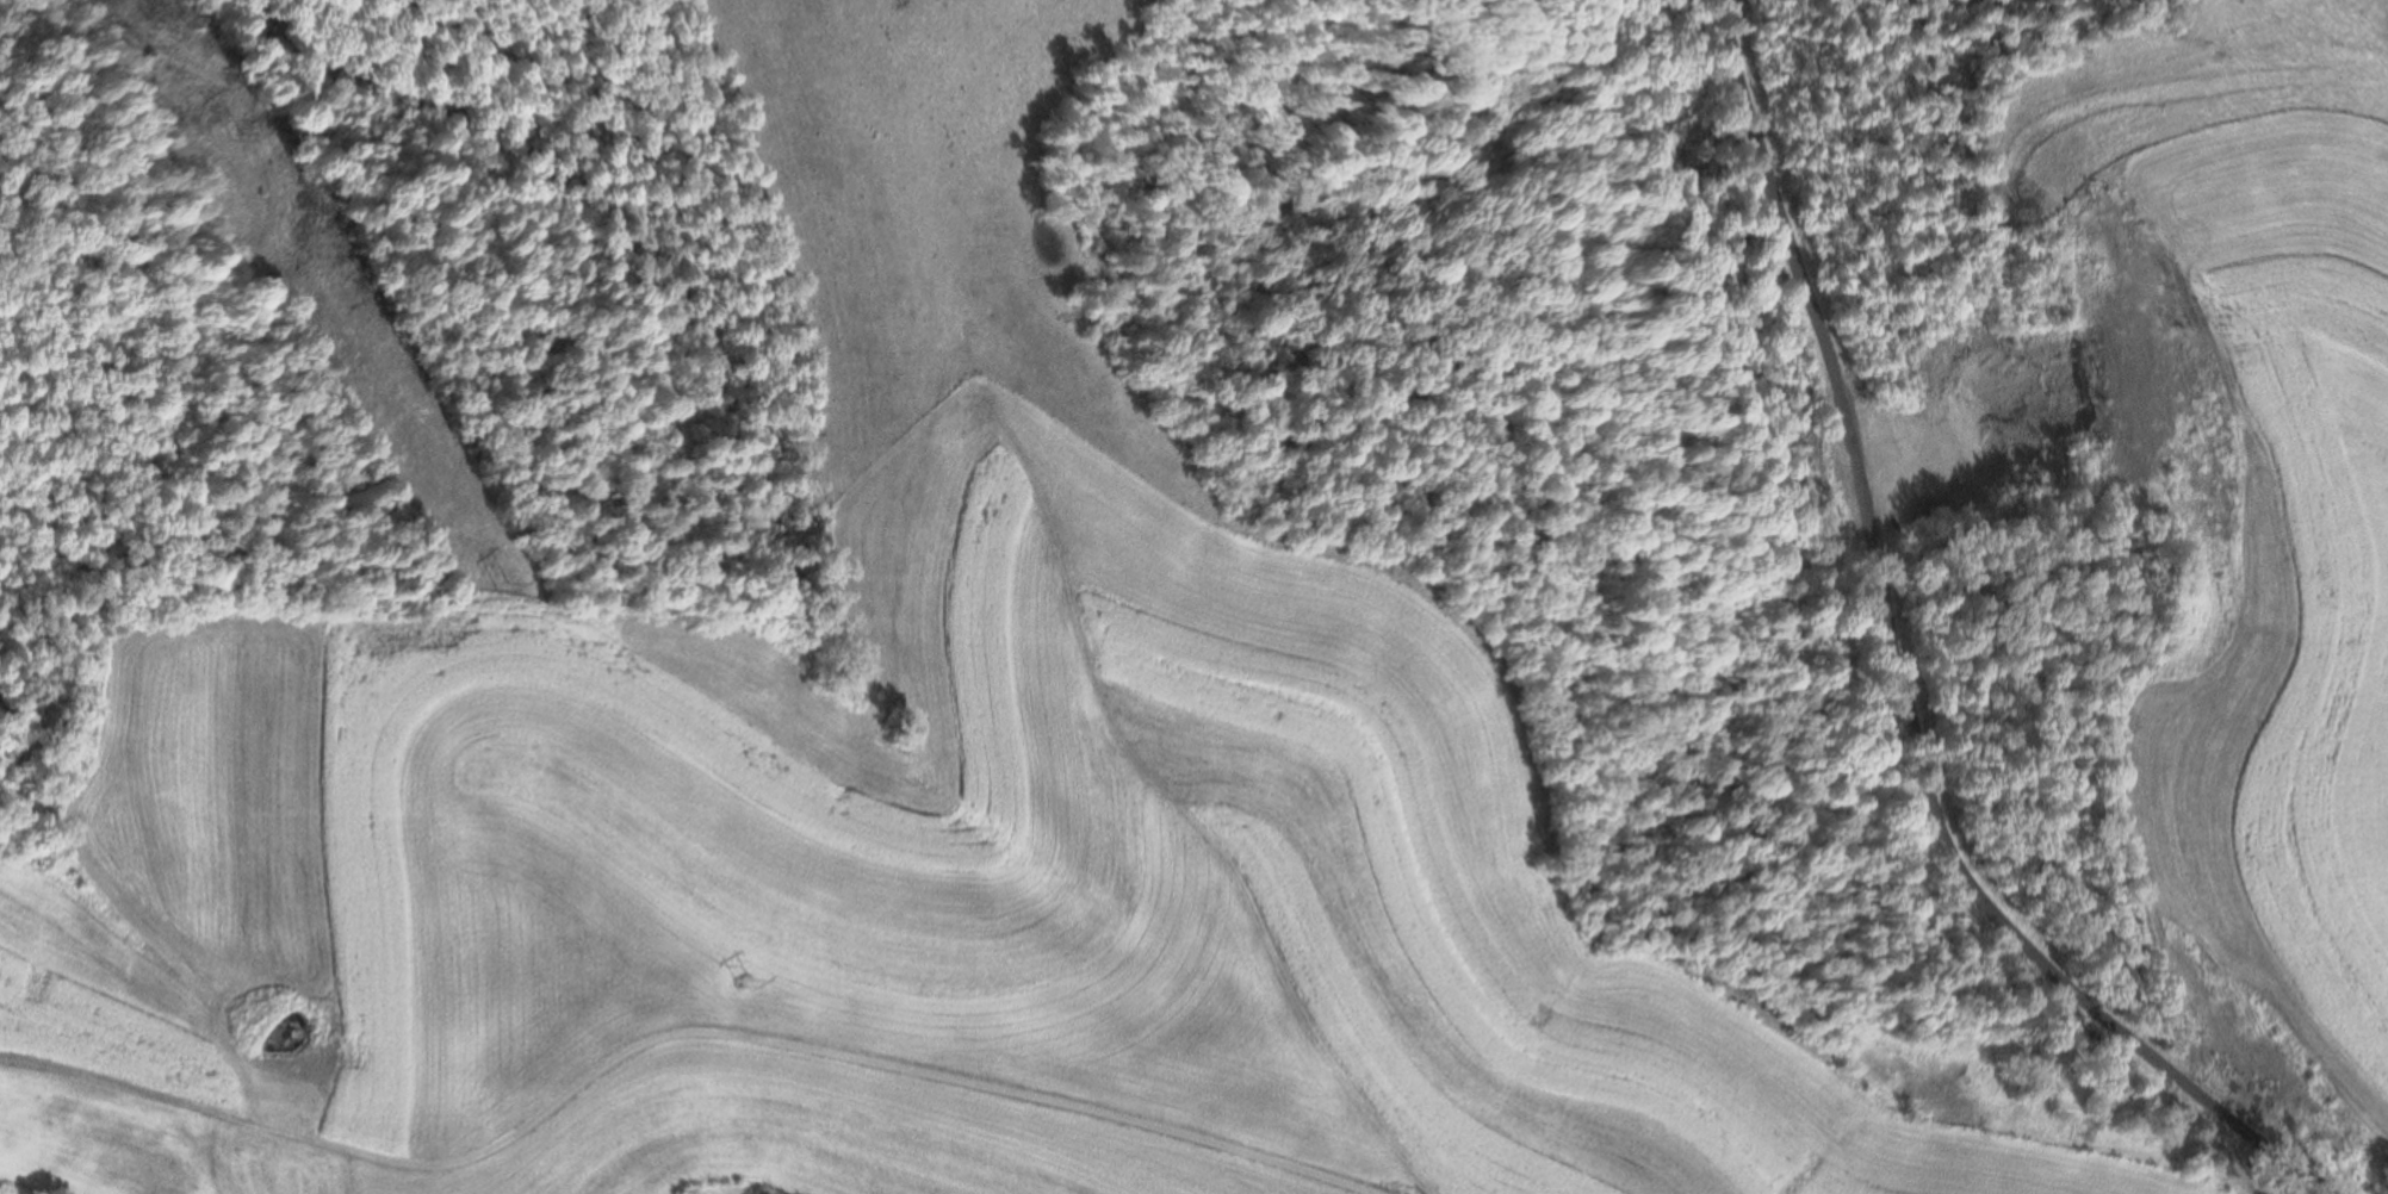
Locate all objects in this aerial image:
power tower: (217, 137)
power tower: (496, 590)
road: (1891, 676)
power tower: (745, 981)
road: (776, 1040)

